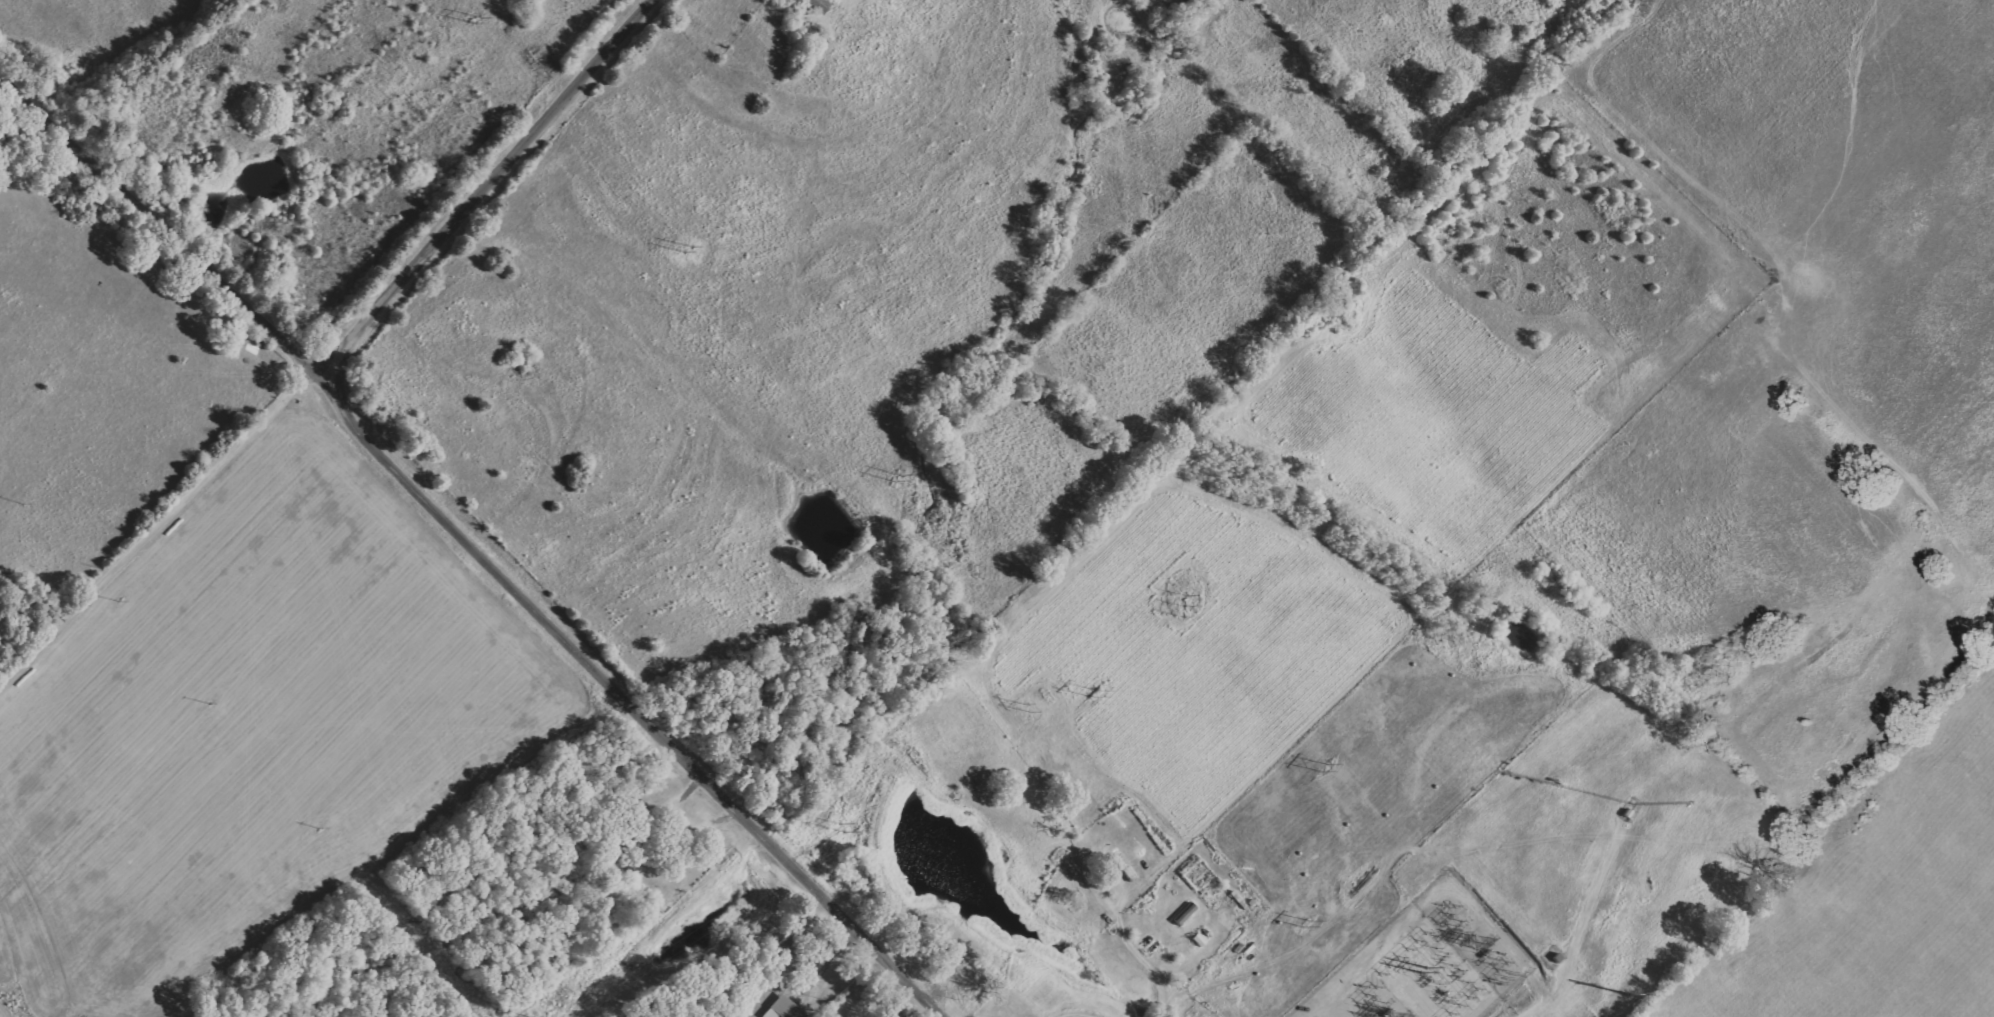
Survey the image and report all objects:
building: (819, 5)
power tower: (475, 21)
road: (478, 183)
road: (154, 212)
power tower: (682, 247)
power tower: (894, 477)
road: (153, 522)
power tower: (1177, 598)
power tower: (1095, 695)
road: (613, 696)
power tower: (1318, 769)
power tower: (841, 826)
power tower: (1303, 920)
building: (792, 950)
road: (1146, 959)
power substation: (1426, 961)
power tower: (1499, 971)
building: (785, 1008)
road: (1083, 1015)

